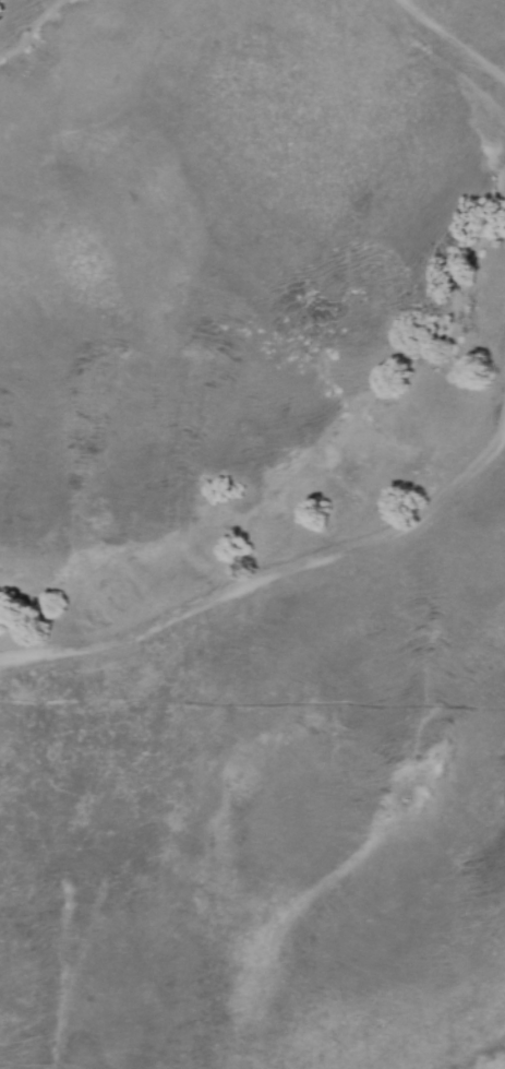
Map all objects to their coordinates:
road: (452, 39)
road: (443, 62)
road: (266, 579)

